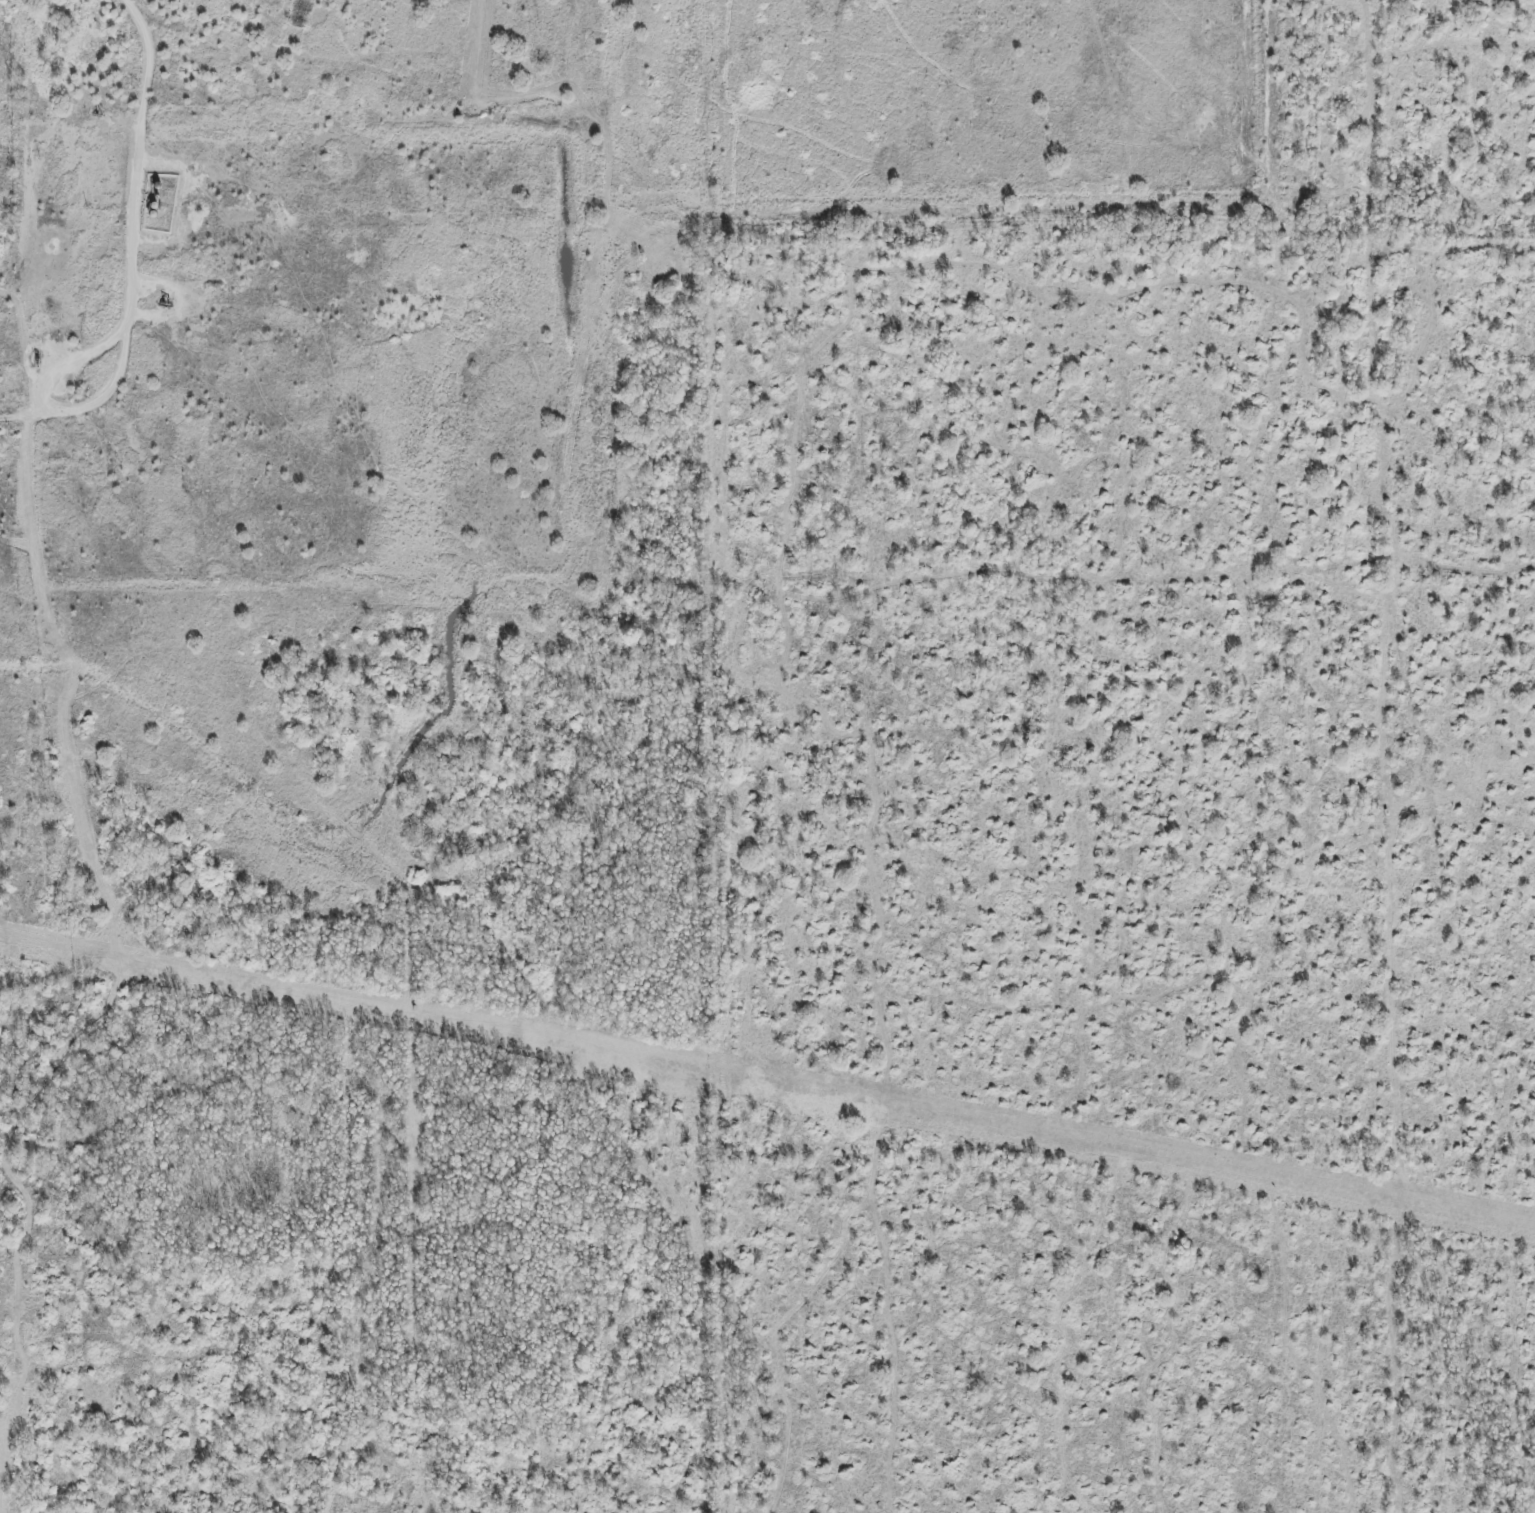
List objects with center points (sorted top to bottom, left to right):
road: (134, 253)

